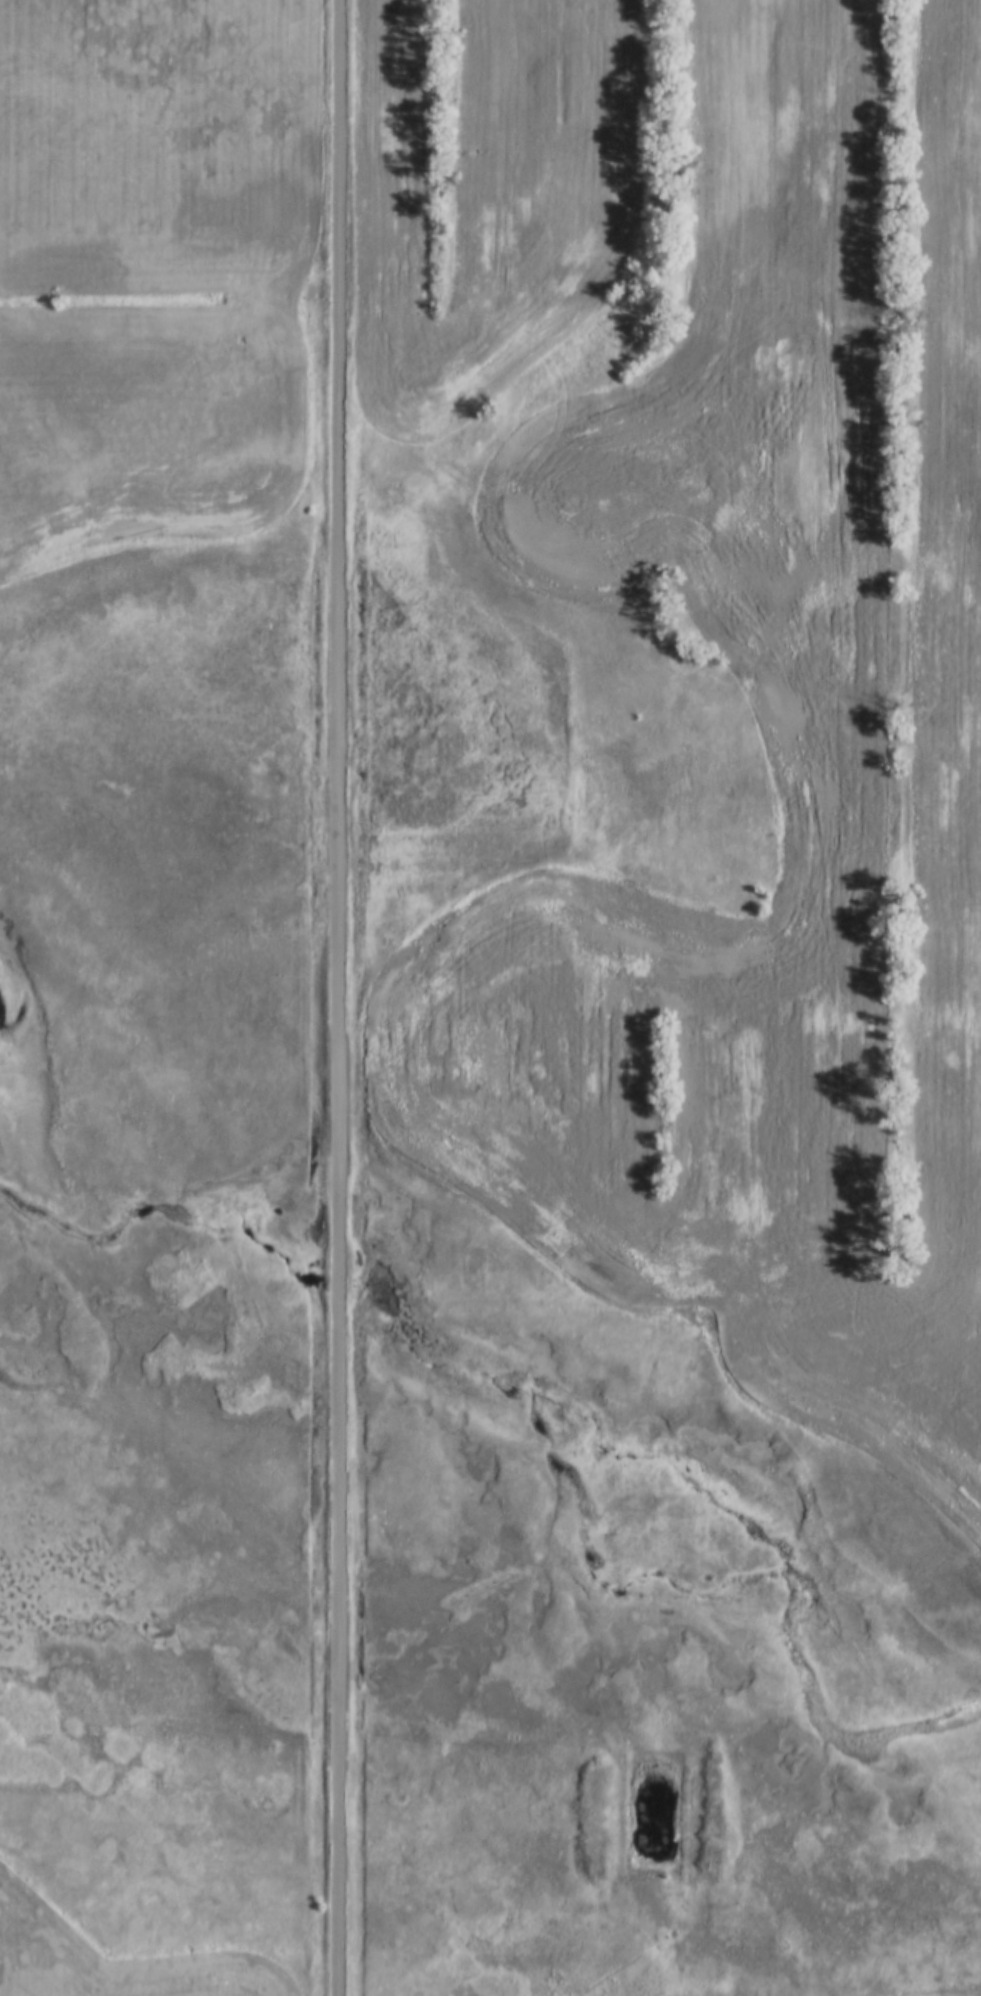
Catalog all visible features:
road: (337, 997)

